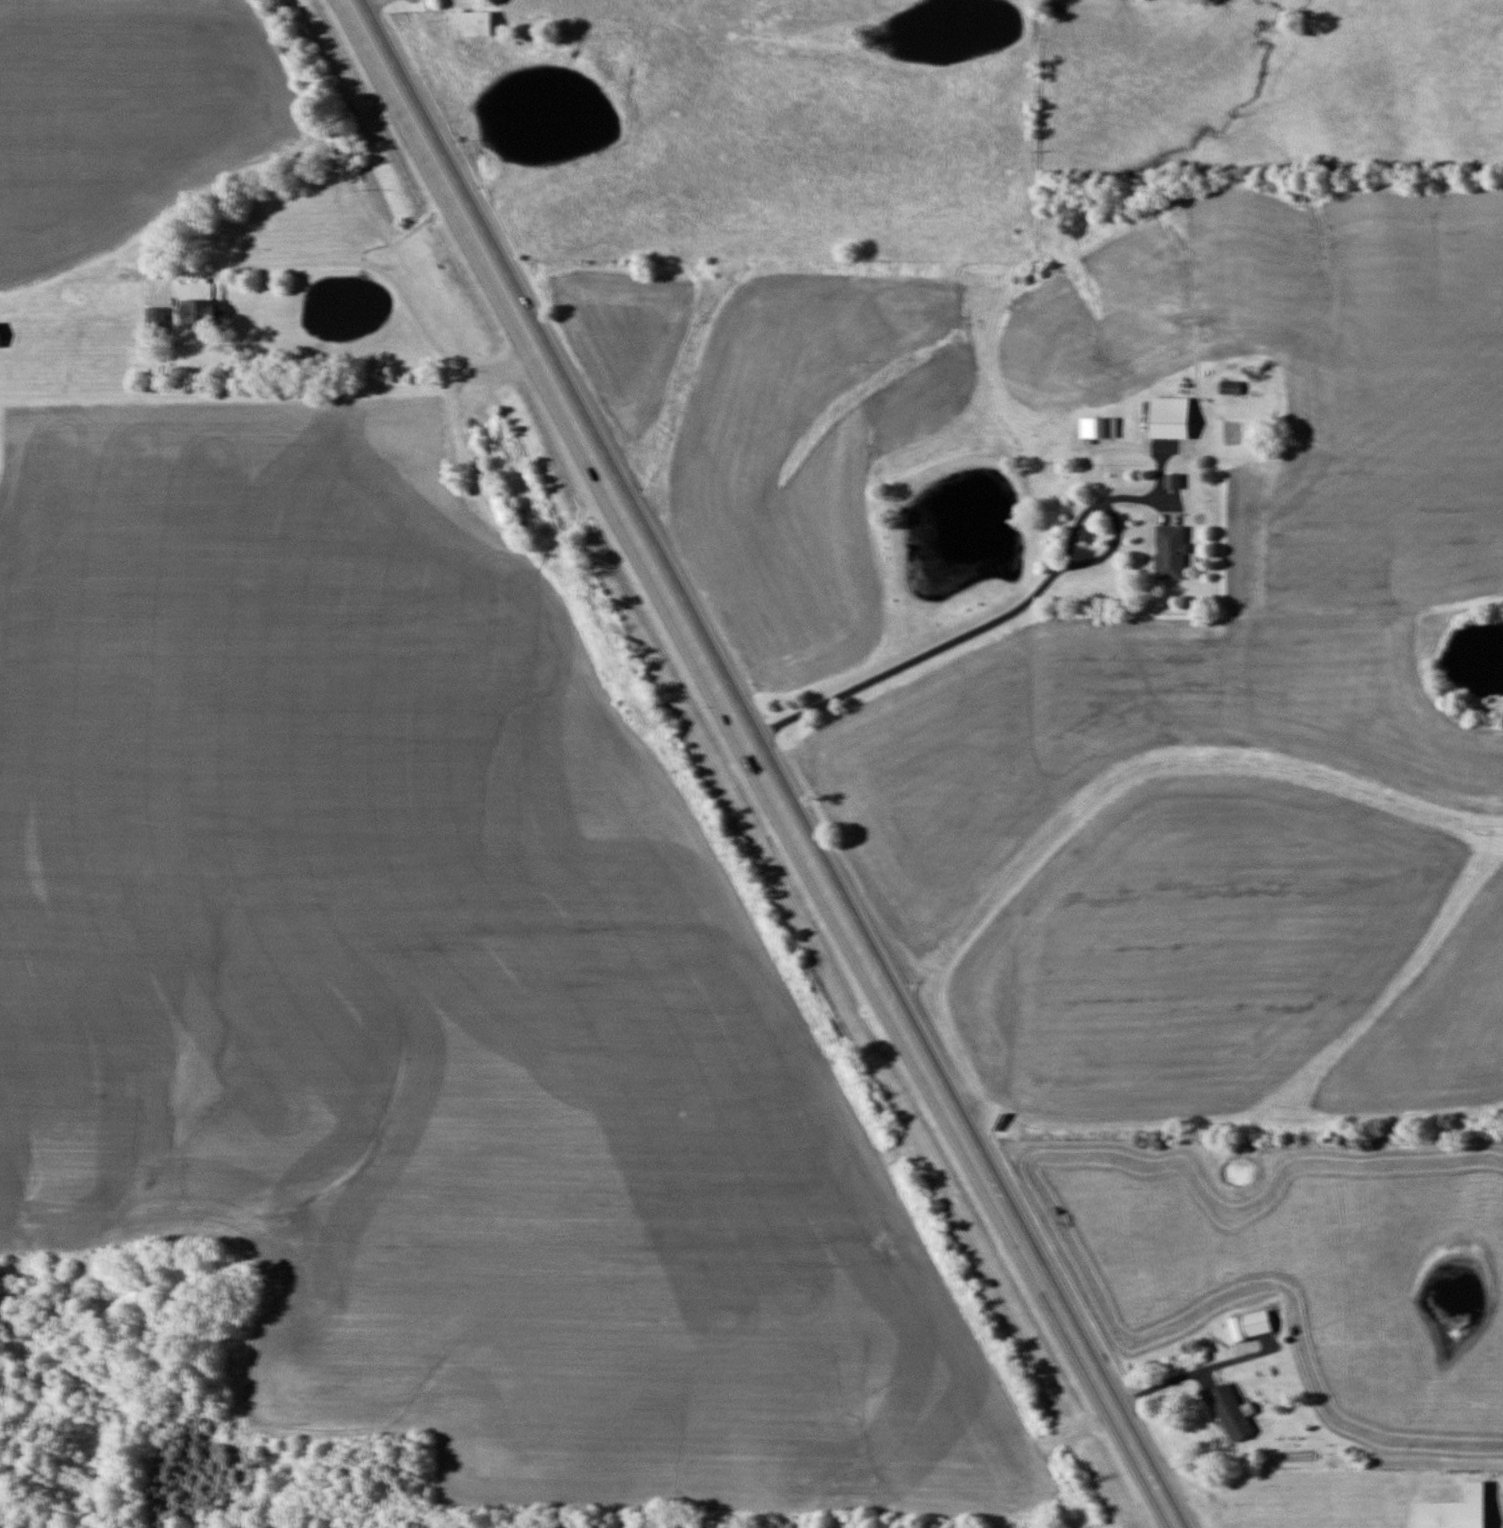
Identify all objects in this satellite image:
building: (472, 24)
building: (200, 312)
building: (156, 317)
road: (531, 333)
building: (1230, 388)
building: (1170, 418)
building: (1098, 428)
building: (1173, 482)
building: (1170, 553)
road: (945, 1097)
building: (1256, 1323)
building: (1230, 1412)
building: (1455, 1510)

